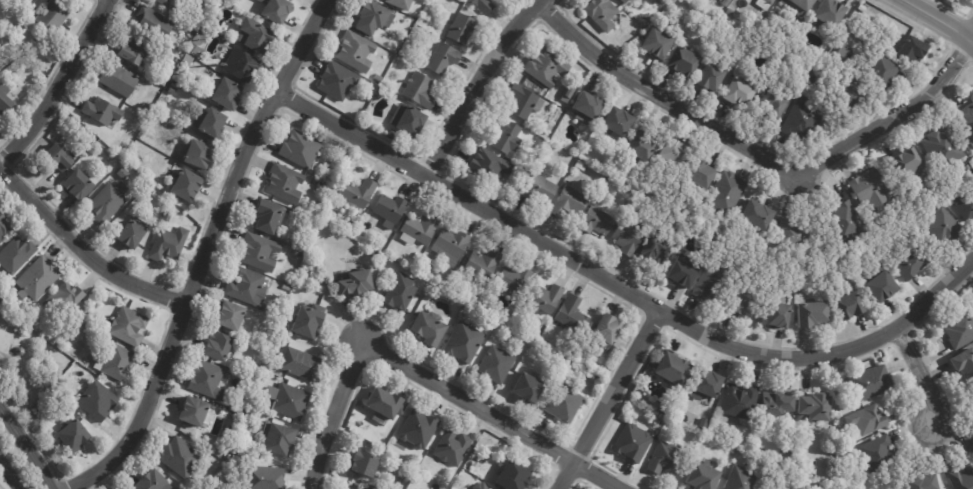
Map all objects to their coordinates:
building: (719, 0)
building: (1, 1)
building: (626, 1)
building: (32, 2)
building: (220, 2)
building: (725, 2)
building: (170, 3)
building: (402, 3)
building: (767, 3)
building: (486, 5)
building: (800, 5)
building: (863, 9)
building: (277, 10)
building: (731, 12)
building: (831, 12)
building: (604, 13)
building: (54, 15)
building: (374, 16)
building: (155, 20)
road: (937, 20)
building: (463, 29)
building: (193, 32)
building: (204, 32)
building: (257, 35)
building: (658, 43)
building: (195, 48)
building: (916, 49)
building: (134, 50)
building: (845, 51)
building: (359, 52)
building: (445, 59)
building: (685, 60)
building: (242, 64)
building: (194, 65)
building: (548, 67)
building: (885, 71)
building: (713, 77)
building: (379, 78)
building: (121, 80)
building: (339, 80)
building: (164, 81)
road: (59, 83)
road: (478, 84)
building: (174, 90)
building: (422, 90)
building: (742, 90)
building: (853, 92)
building: (229, 93)
building: (369, 96)
building: (5, 100)
building: (568, 100)
road: (664, 101)
building: (524, 102)
building: (775, 102)
building: (147, 107)
building: (588, 107)
building: (103, 111)
road: (903, 115)
building: (968, 115)
building: (410, 120)
building: (618, 121)
building: (804, 121)
building: (151, 122)
building: (213, 123)
building: (394, 134)
building: (507, 135)
building: (540, 142)
building: (642, 145)
building: (944, 147)
building: (302, 149)
building: (677, 152)
building: (200, 153)
building: (537, 156)
building: (60, 157)
building: (134, 158)
building: (910, 163)
building: (492, 165)
building: (582, 166)
building: (970, 167)
building: (124, 173)
building: (703, 173)
building: (285, 183)
building: (80, 185)
building: (188, 185)
building: (870, 187)
building: (542, 189)
building: (150, 191)
building: (729, 191)
building: (359, 192)
building: (570, 201)
building: (109, 202)
building: (965, 203)
building: (391, 209)
building: (759, 214)
building: (168, 215)
building: (270, 216)
building: (598, 220)
building: (849, 220)
building: (945, 225)
building: (4, 227)
building: (421, 229)
building: (134, 233)
building: (795, 234)
building: (628, 237)
building: (170, 244)
building: (451, 246)
building: (658, 249)
building: (385, 250)
road: (82, 251)
road: (204, 252)
building: (260, 252)
building: (375, 253)
building: (17, 254)
building: (300, 254)
building: (418, 256)
building: (911, 262)
building: (485, 263)
building: (432, 268)
building: (684, 271)
building: (851, 274)
building: (443, 277)
building: (39, 278)
building: (714, 278)
building: (515, 279)
building: (357, 283)
building: (883, 286)
building: (249, 287)
building: (287, 287)
road: (619, 291)
building: (401, 292)
building: (549, 299)
building: (65, 301)
building: (743, 302)
building: (853, 305)
building: (23, 310)
building: (85, 310)
building: (812, 314)
building: (231, 315)
building: (573, 315)
building: (781, 315)
building: (272, 319)
building: (309, 320)
building: (130, 326)
building: (431, 327)
building: (609, 328)
building: (960, 330)
building: (269, 340)
building: (465, 342)
building: (219, 346)
building: (117, 362)
building: (965, 363)
building: (301, 364)
road: (398, 364)
building: (497, 364)
building: (674, 369)
building: (256, 371)
building: (209, 380)
building: (252, 381)
building: (870, 384)
road: (924, 385)
building: (712, 386)
building: (531, 388)
building: (98, 400)
building: (292, 401)
building: (566, 401)
road: (608, 402)
building: (742, 402)
building: (779, 403)
building: (385, 404)
building: (817, 408)
building: (664, 409)
building: (195, 411)
building: (868, 421)
building: (705, 423)
building: (188, 428)
building: (420, 428)
building: (75, 436)
building: (281, 440)
building: (635, 441)
road: (27, 447)
building: (454, 448)
building: (223, 450)
building: (880, 454)
building: (181, 457)
building: (667, 459)
building: (364, 464)
road: (9, 474)
road: (601, 475)
building: (515, 476)
building: (703, 476)
building: (266, 478)
building: (743, 479)
building: (961, 479)
building: (152, 481)
building: (925, 483)
building: (484, 486)
building: (368, 488)
building: (764, 488)
building: (810, 488)

